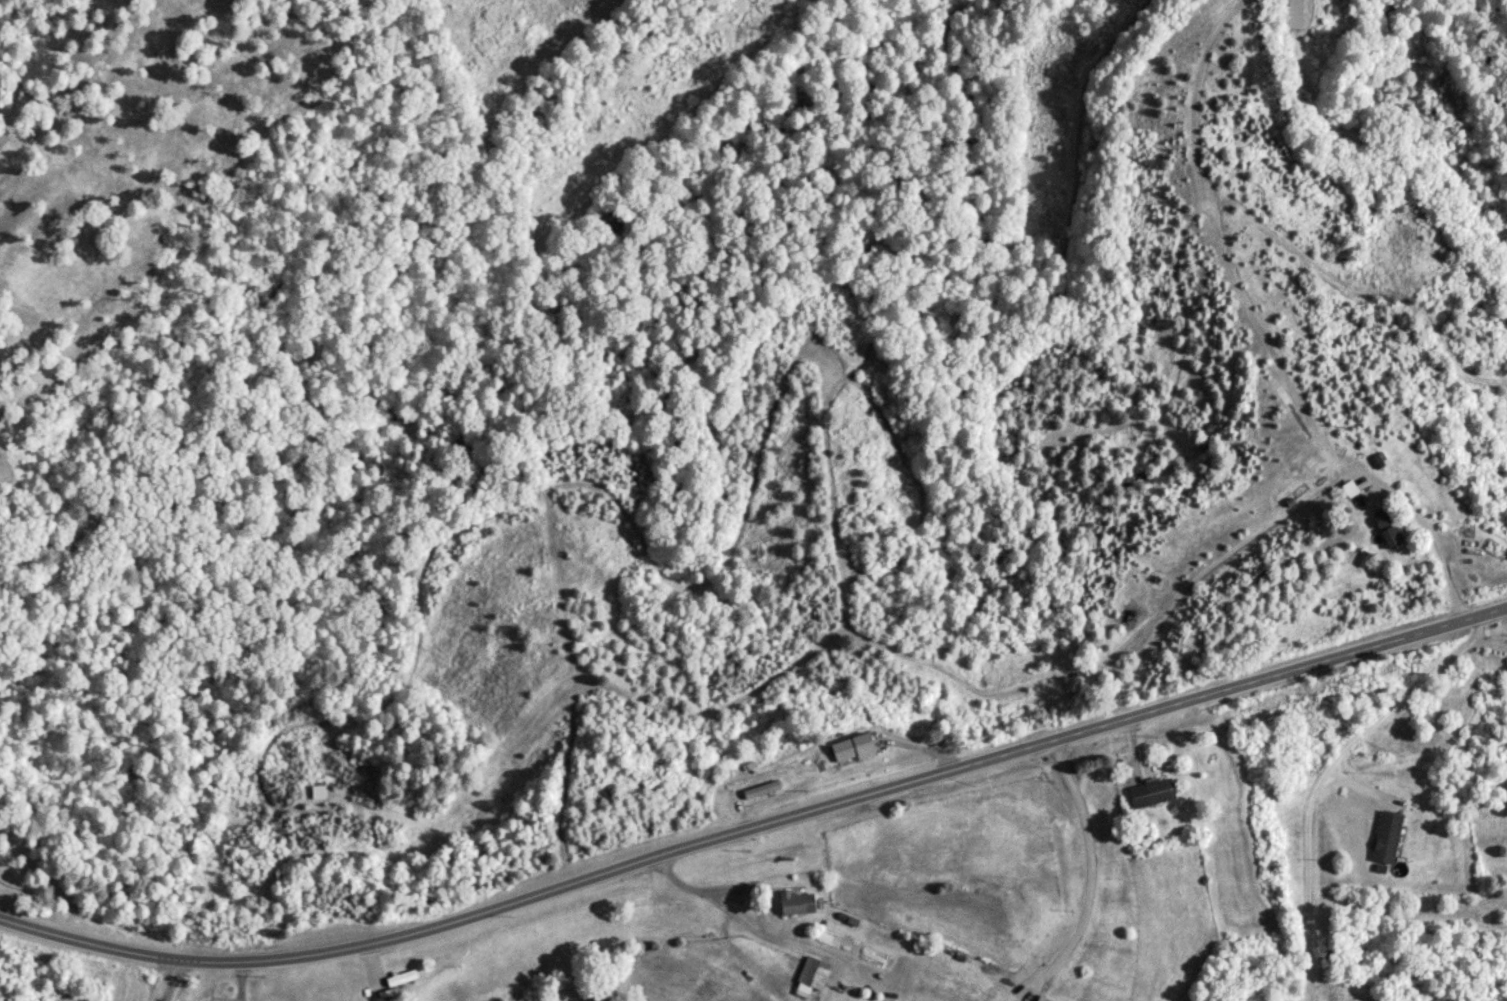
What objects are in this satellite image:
building: (1353, 496)
building: (1389, 530)
building: (854, 750)
road: (1328, 767)
building: (762, 788)
building: (319, 793)
building: (1151, 794)
road: (757, 811)
building: (1389, 839)
building: (798, 904)
building: (815, 974)
road: (122, 978)
building: (403, 978)
building: (1043, 1000)

